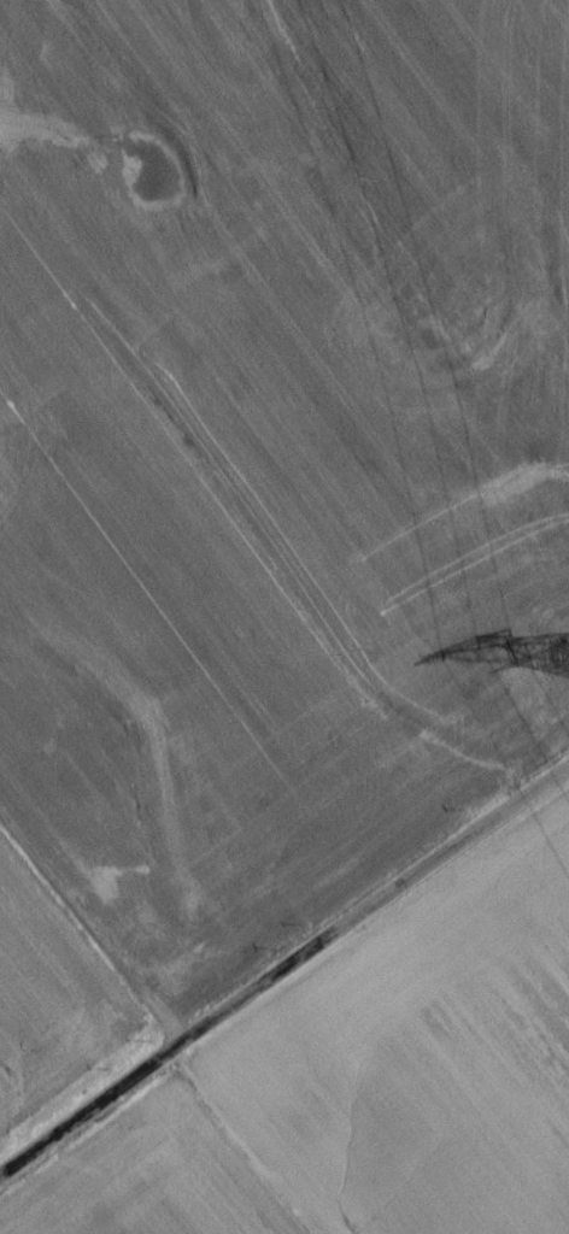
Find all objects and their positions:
road: (278, 954)

